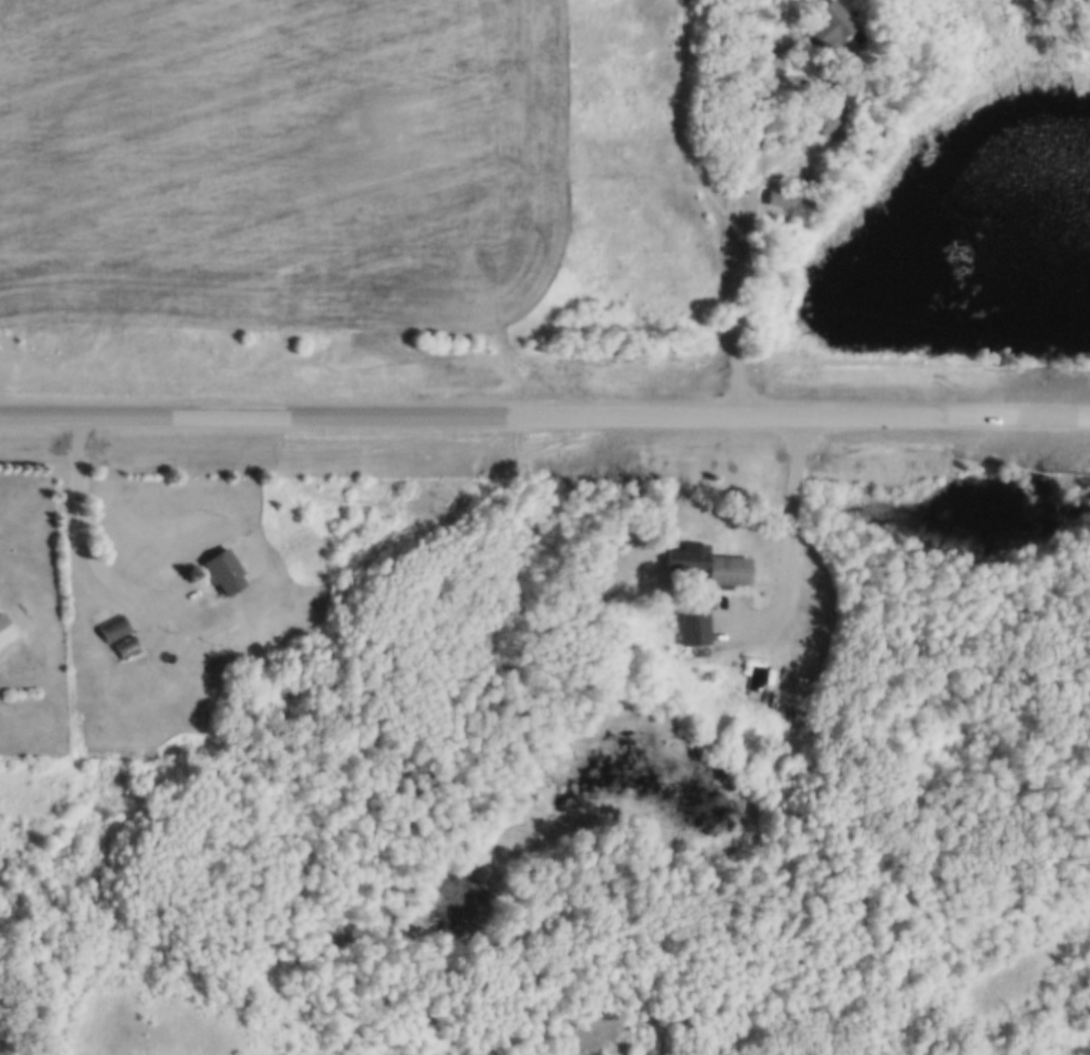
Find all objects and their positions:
building: (832, 21)
building: (833, 86)
building: (825, 121)
building: (782, 196)
road: (746, 232)
road: (545, 413)
road: (789, 544)
road: (93, 553)
building: (717, 562)
building: (222, 568)
building: (112, 624)
building: (697, 624)
building: (4, 626)
building: (125, 644)
building: (755, 669)
building: (711, 672)

